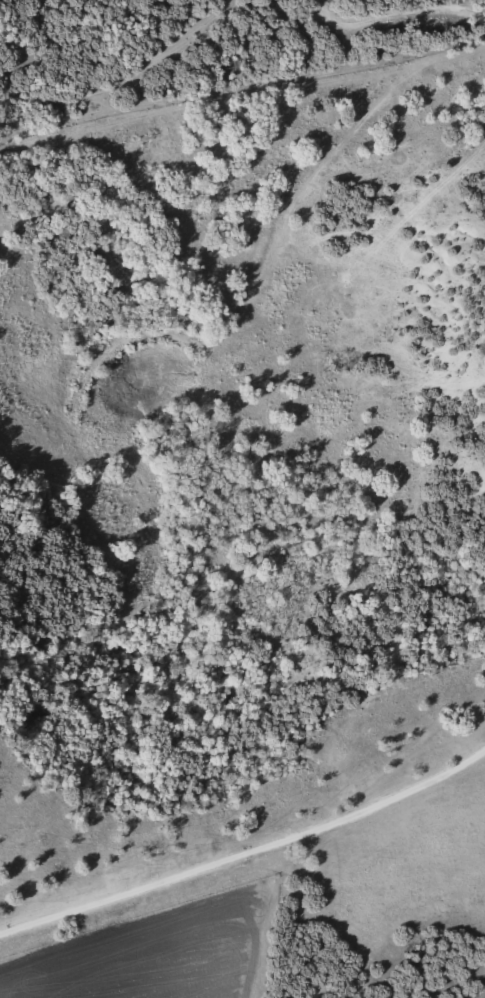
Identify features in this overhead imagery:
road: (249, 828)

